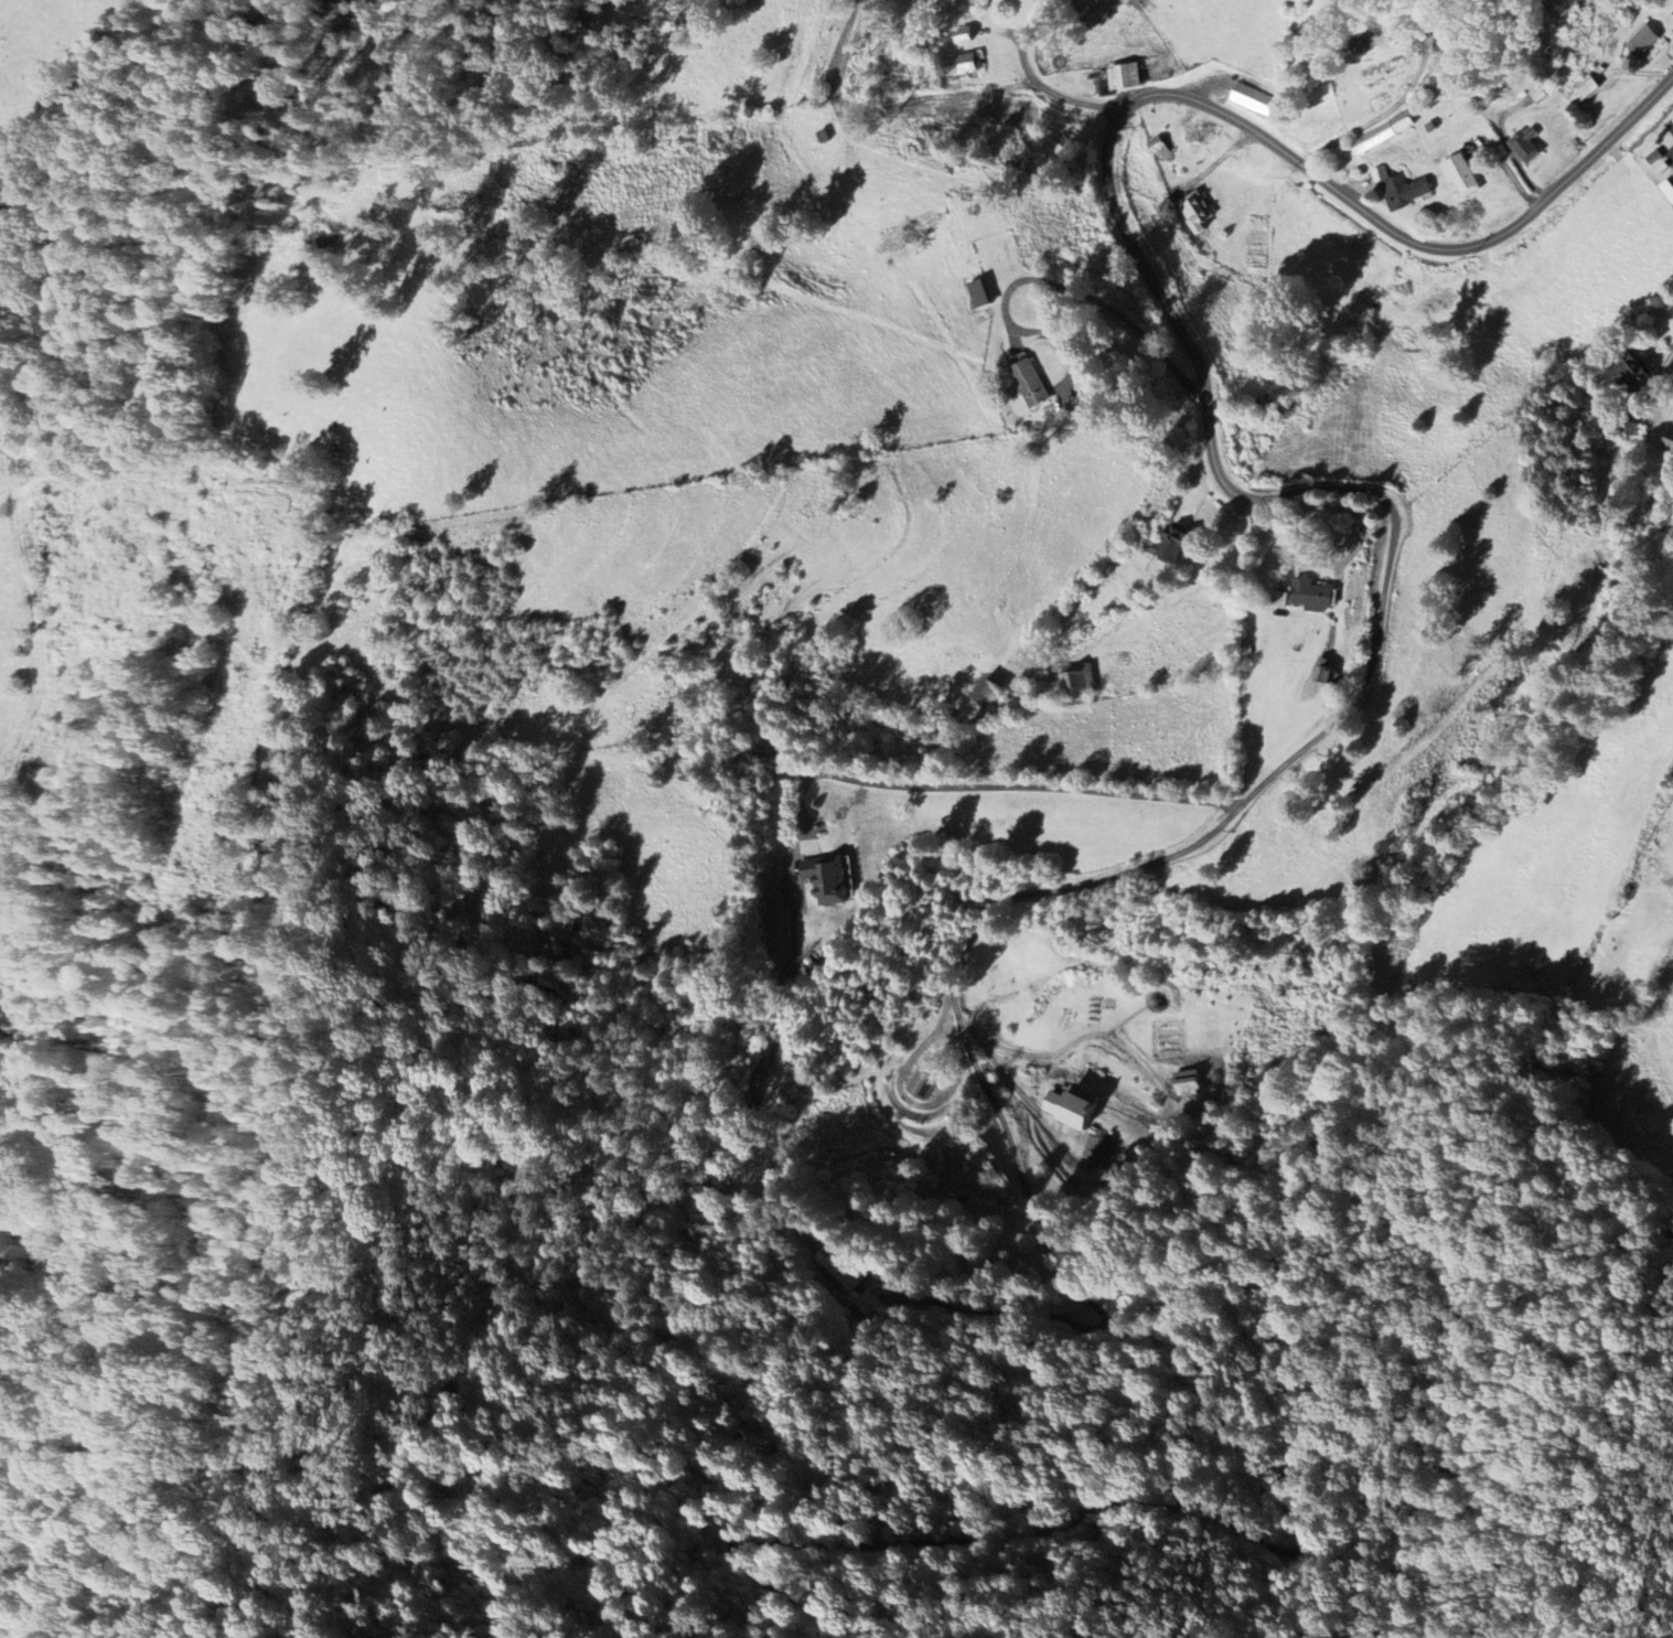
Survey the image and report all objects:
building: (1670, 2)
building: (1644, 41)
building: (966, 63)
building: (1129, 77)
road: (1034, 79)
building: (1590, 89)
building: (1538, 94)
building: (1256, 99)
building: (1406, 121)
building: (1375, 139)
building: (1529, 144)
building: (1163, 149)
building: (1463, 175)
building: (1669, 188)
building: (1403, 189)
building: (1199, 213)
building: (982, 295)
building: (1643, 378)
building: (1030, 383)
road: (1209, 410)
building: (1323, 595)
building: (1088, 682)
building: (991, 694)
building: (832, 879)
road: (989, 1056)
building: (922, 1083)
building: (1194, 1083)
building: (1079, 1110)
road: (1039, 1224)
building: (847, 1271)
building: (869, 1303)

